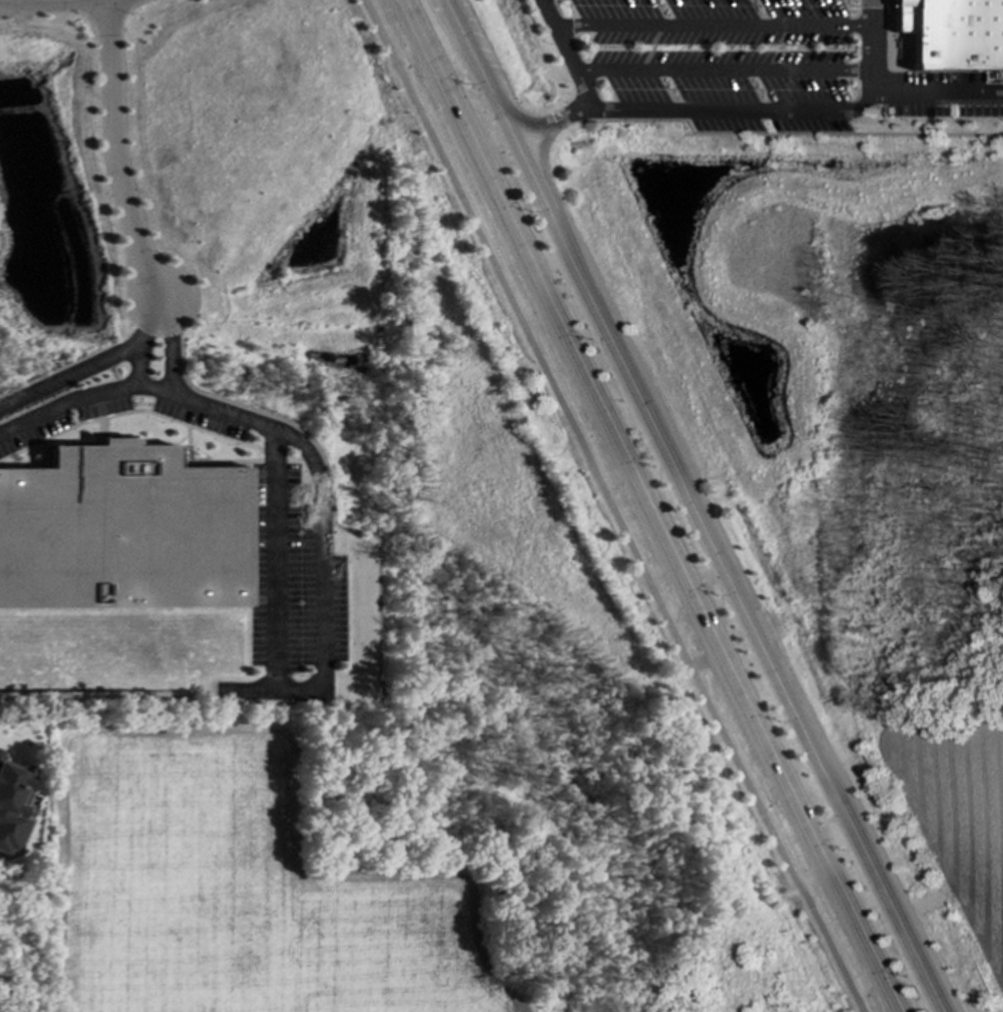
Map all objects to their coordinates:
road: (15, 1)
road: (53, 1)
road: (709, 26)
building: (951, 34)
road: (564, 52)
parking lot: (753, 66)
road: (721, 70)
road: (936, 91)
road: (736, 111)
road: (112, 158)
road: (150, 326)
road: (166, 326)
road: (69, 377)
road: (153, 389)
road: (85, 398)
road: (610, 505)
road: (691, 505)
road: (645, 506)
building: (120, 531)
road: (321, 633)
building: (0, 753)
building: (13, 804)
crop: (958, 818)
crop: (230, 894)

